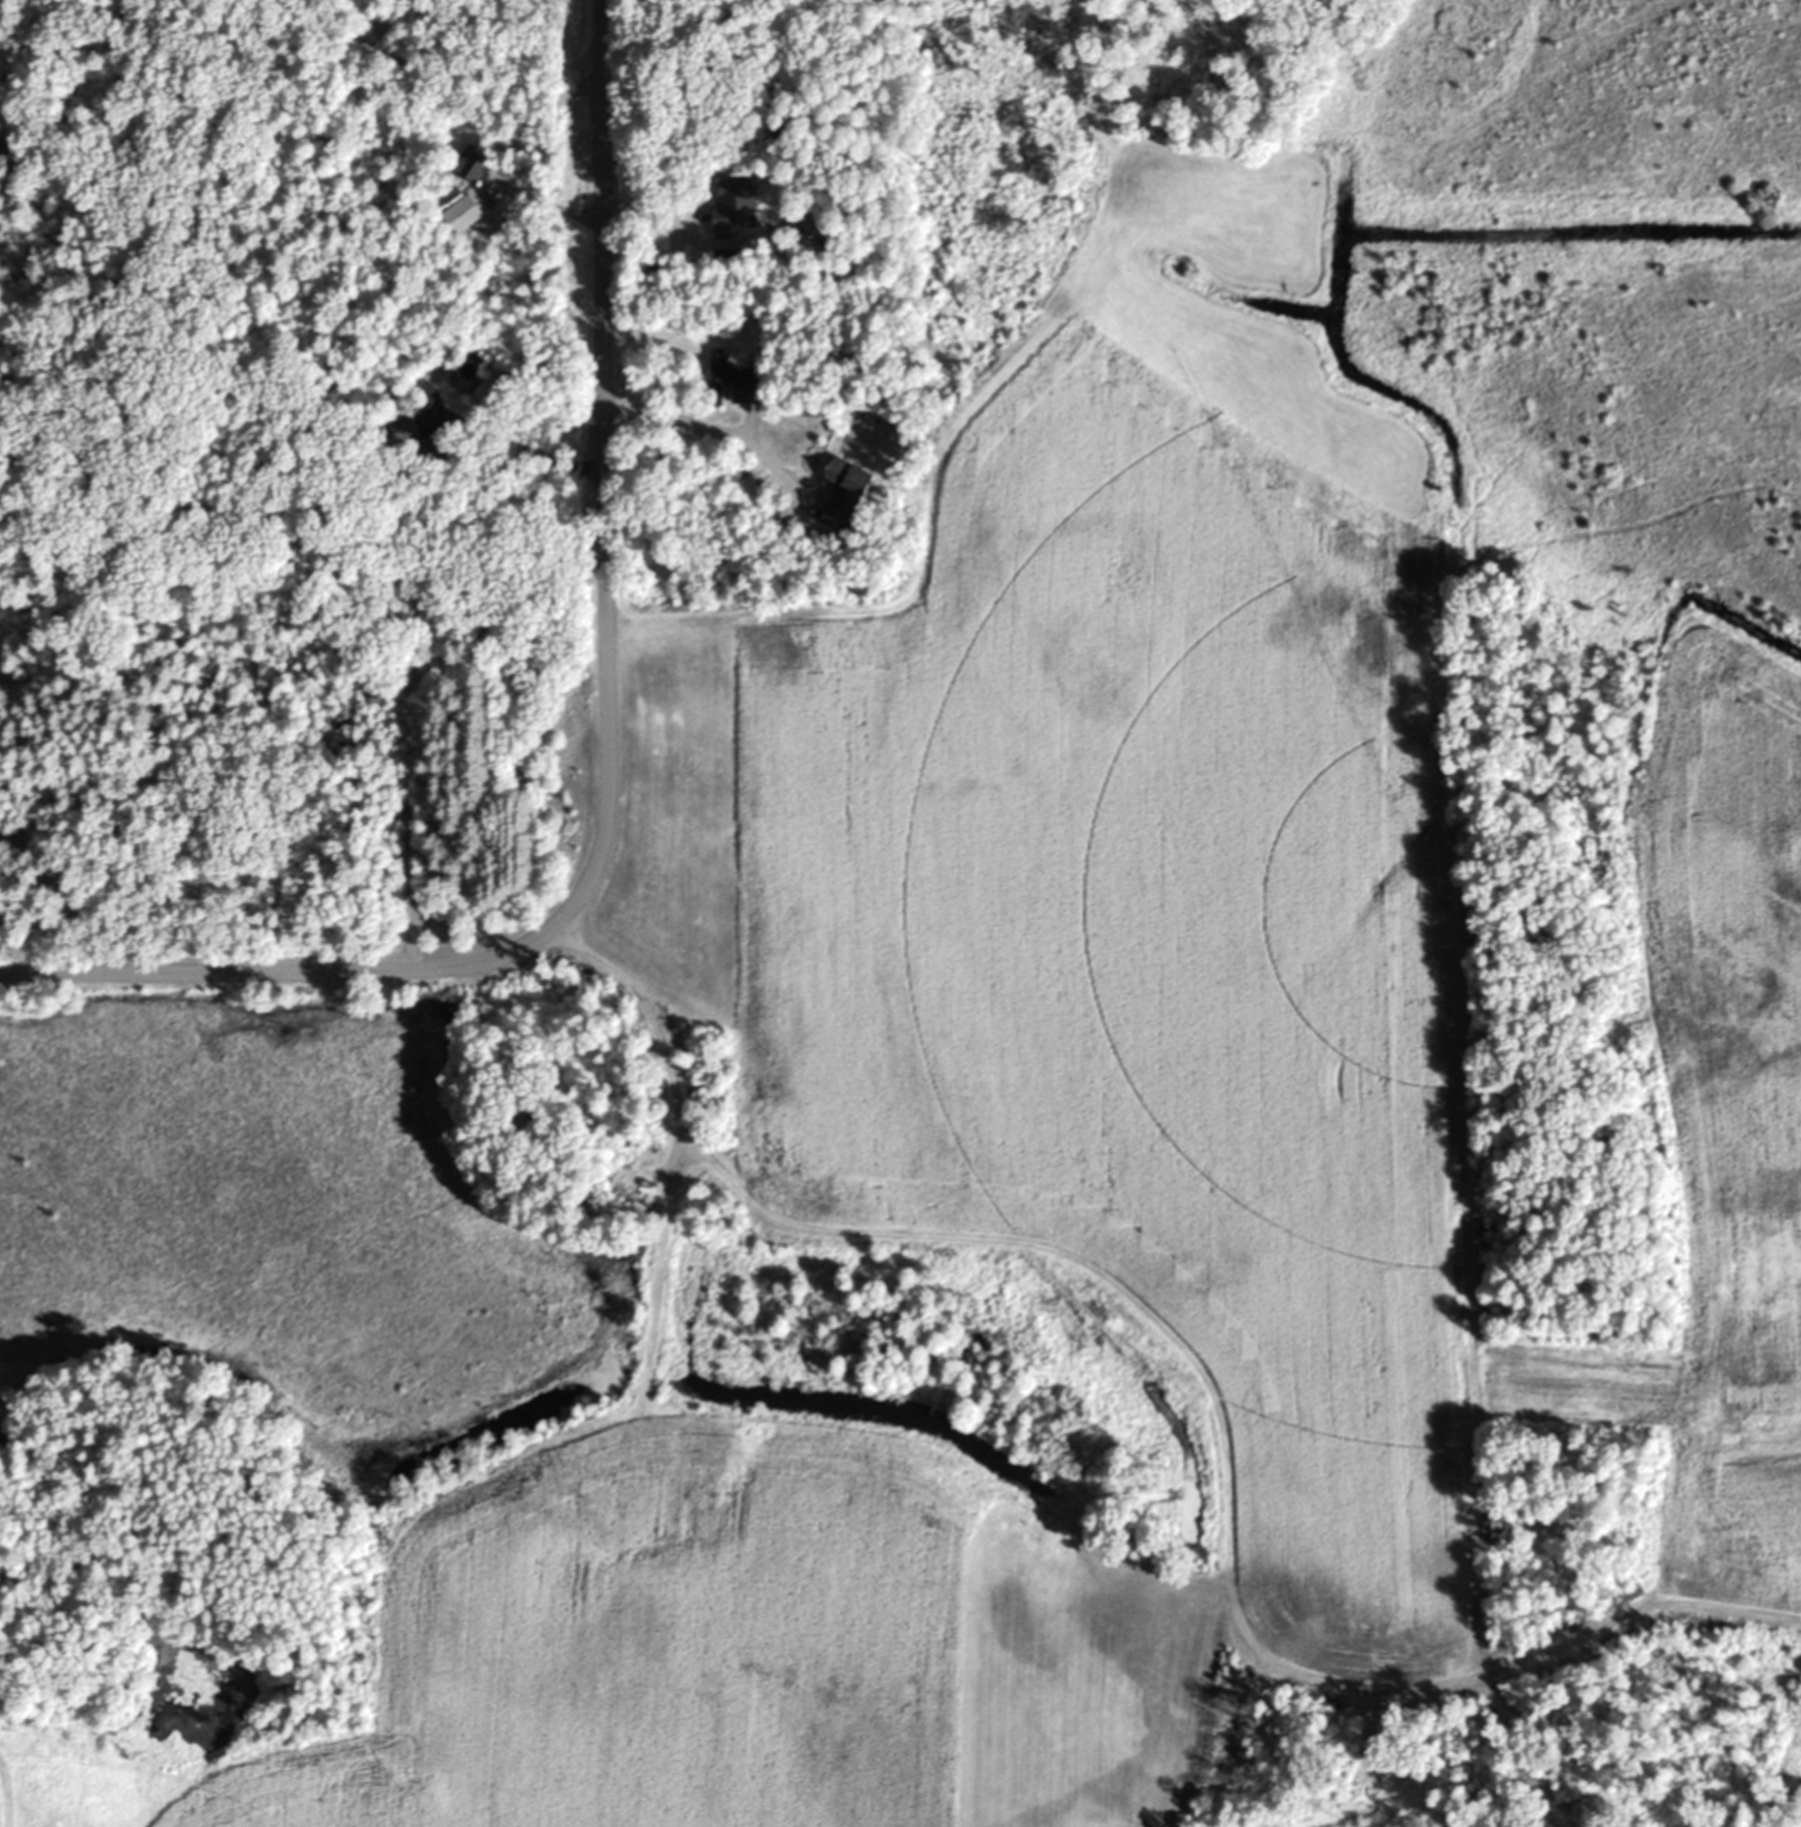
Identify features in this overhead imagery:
building: (471, 165)
building: (459, 214)
building: (730, 378)
building: (843, 494)
road: (611, 750)

